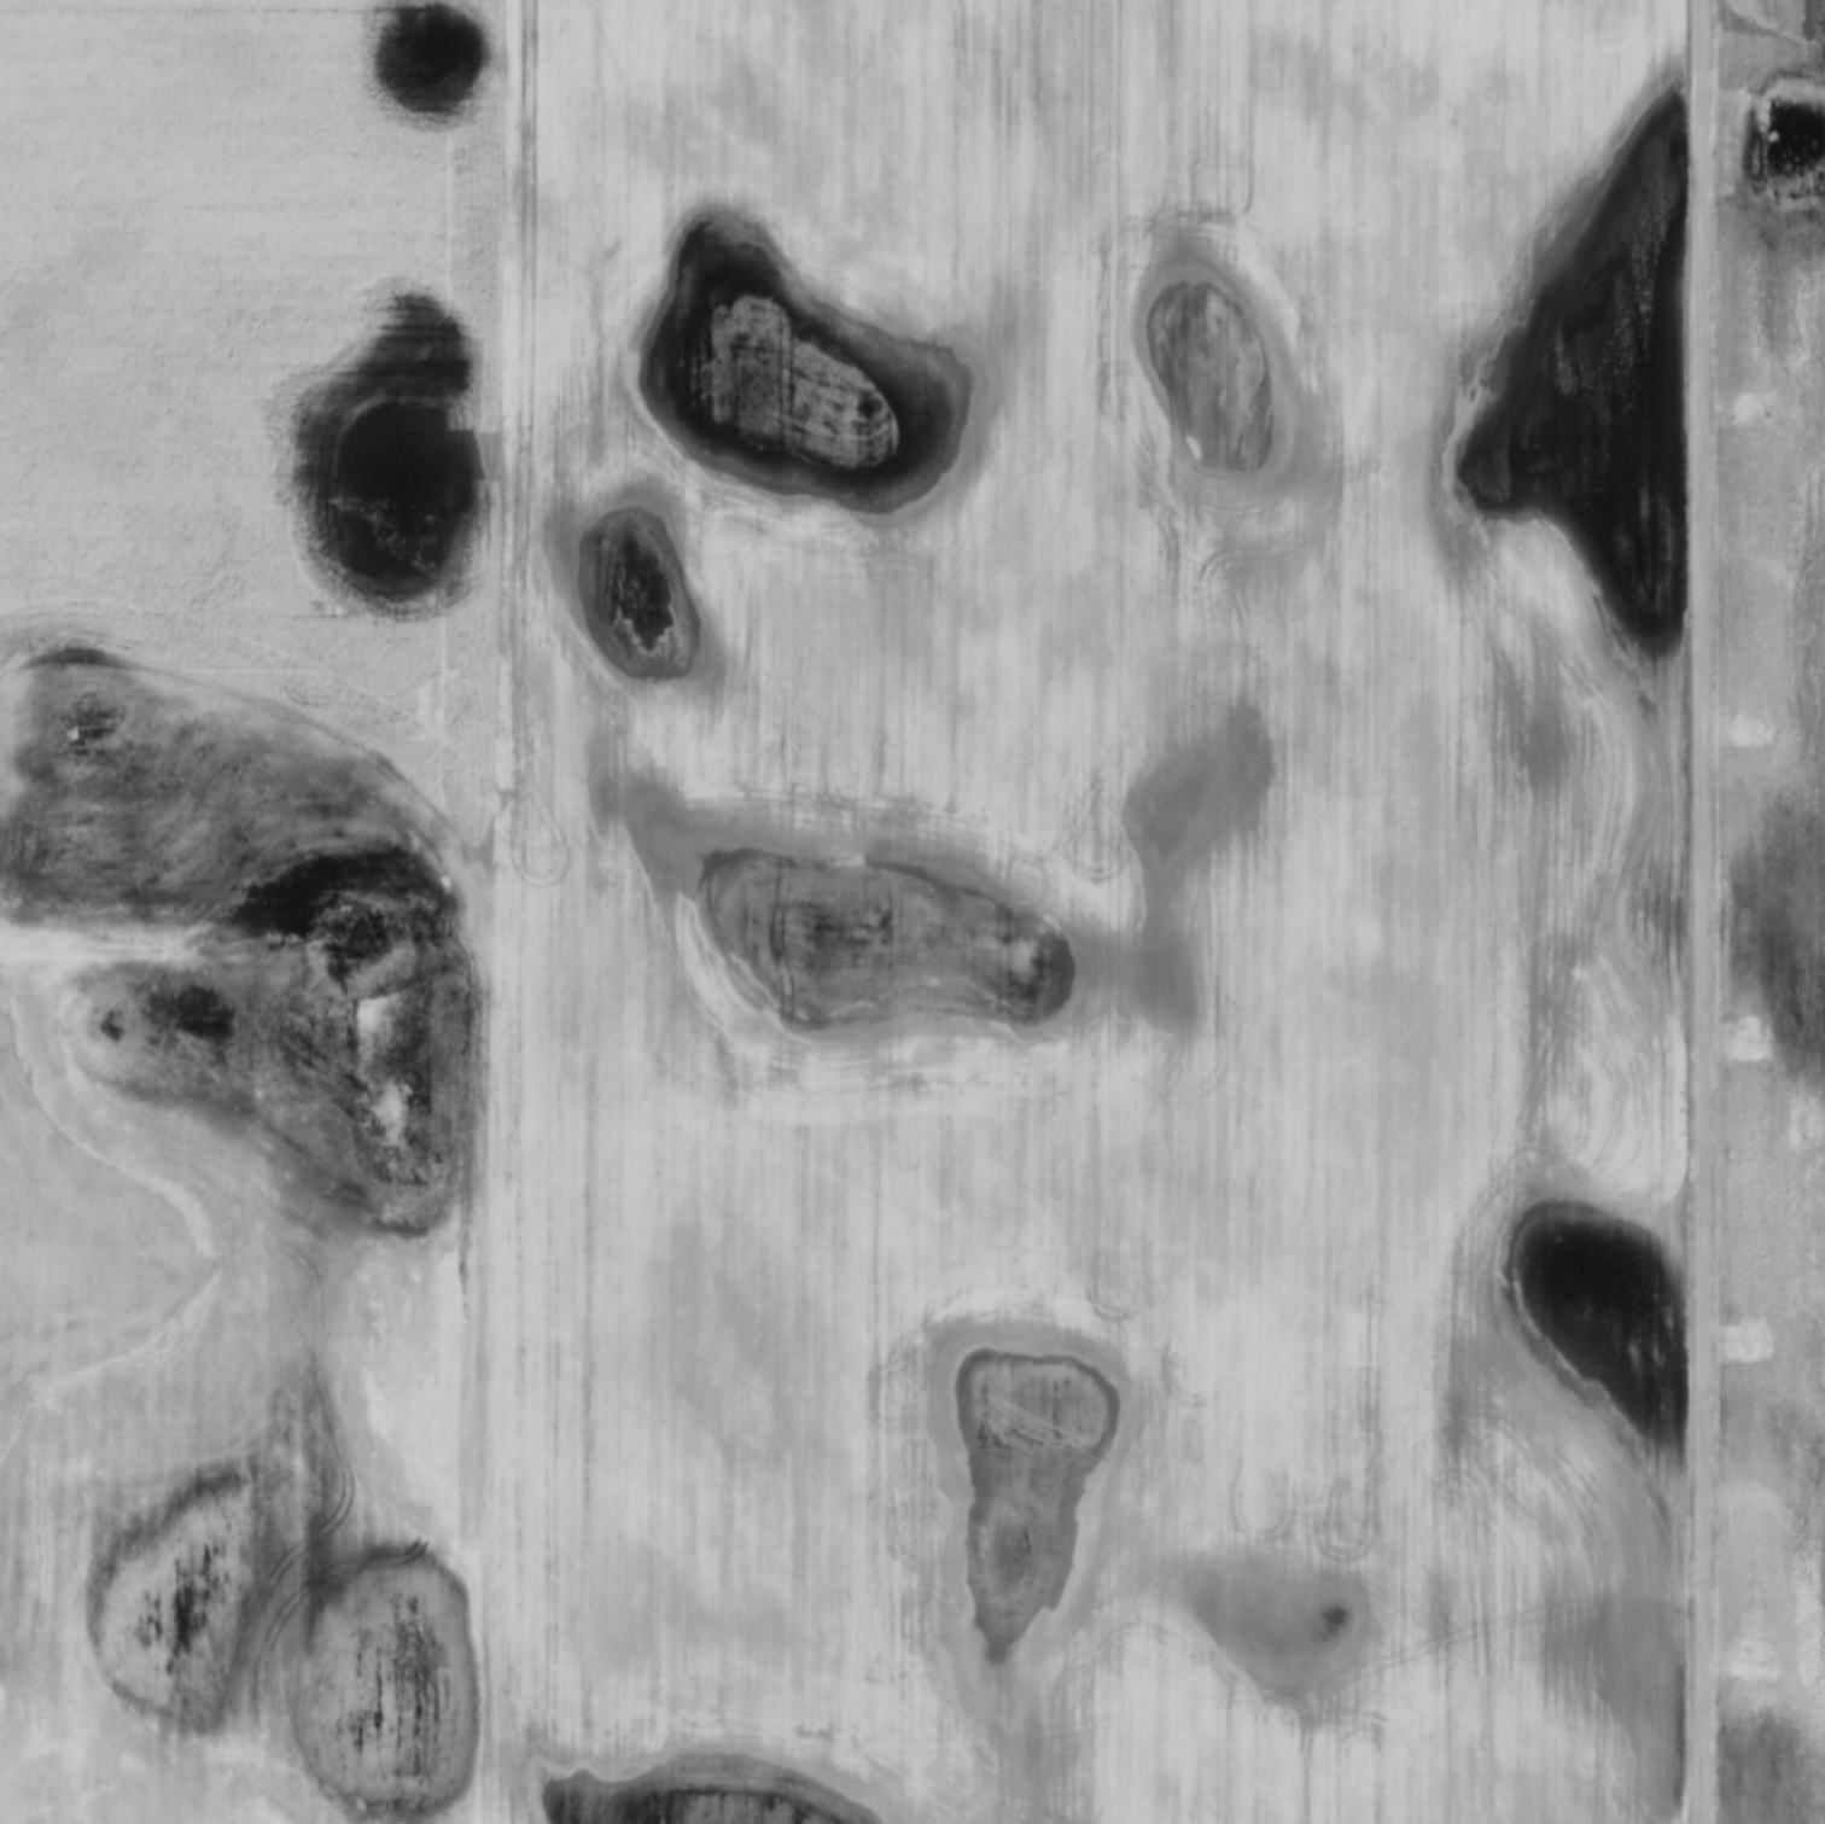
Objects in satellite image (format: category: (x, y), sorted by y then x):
road: (1698, 911)

